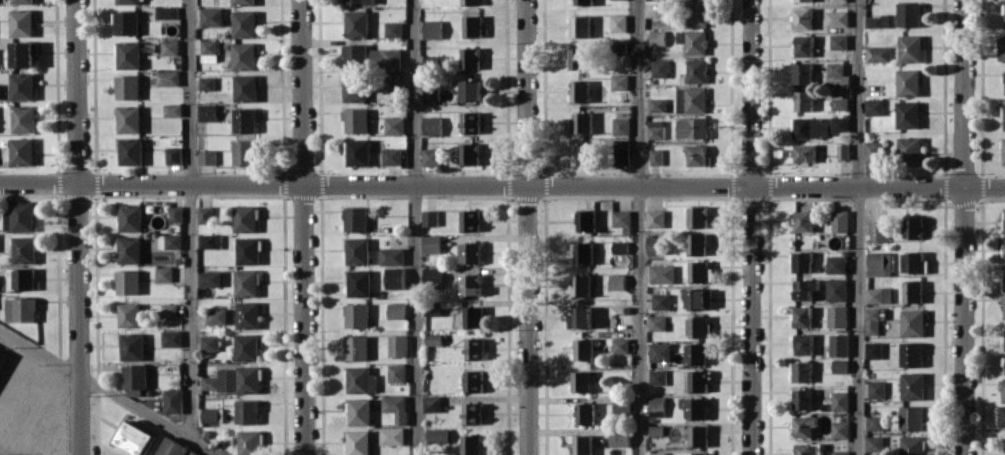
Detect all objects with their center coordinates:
building: (800, 0)
building: (835, 0)
building: (23, 1)
building: (358, 1)
building: (130, 2)
building: (242, 2)
building: (469, 2)
building: (581, 2)
building: (661, 9)
building: (166, 12)
building: (695, 13)
building: (1003, 13)
building: (906, 14)
building: (211, 16)
building: (800, 18)
building: (833, 18)
building: (874, 21)
building: (22, 22)
building: (127, 22)
building: (244, 23)
building: (356, 23)
building: (616, 23)
building: (470, 26)
building: (578, 26)
building: (392, 29)
building: (431, 29)
building: (655, 37)
building: (691, 41)
building: (835, 41)
building: (802, 45)
building: (169, 47)
building: (907, 48)
building: (1000, 48)
building: (208, 51)
building: (24, 54)
building: (129, 54)
building: (875, 54)
building: (243, 55)
building: (353, 56)
building: (468, 57)
building: (385, 58)
building: (576, 58)
building: (433, 60)
building: (658, 68)
building: (694, 71)
building: (800, 73)
building: (834, 74)
building: (166, 78)
building: (393, 82)
building: (617, 82)
building: (905, 82)
building: (1003, 82)
building: (206, 83)
building: (23, 86)
building: (127, 87)
building: (245, 88)
building: (353, 88)
building: (0, 89)
building: (470, 90)
building: (578, 90)
road: (525, 92)
building: (429, 94)
building: (689, 99)
building: (801, 100)
building: (837, 103)
building: (656, 104)
building: (871, 107)
building: (172, 109)
building: (206, 112)
building: (905, 114)
building: (1003, 116)
building: (24, 119)
building: (128, 119)
building: (244, 120)
building: (355, 120)
building: (469, 122)
building: (581, 122)
building: (837, 123)
building: (392, 125)
building: (430, 125)
building: (619, 125)
building: (691, 127)
building: (809, 128)
building: (654, 129)
building: (907, 149)
building: (1002, 150)
building: (22, 151)
building: (130, 151)
building: (840, 151)
building: (243, 152)
building: (357, 152)
building: (619, 152)
building: (870, 152)
building: (467, 153)
building: (802, 153)
building: (172, 155)
building: (582, 155)
building: (694, 155)
building: (206, 156)
building: (390, 156)
building: (429, 156)
building: (654, 156)
road: (263, 183)
road: (765, 185)
building: (174, 214)
building: (203, 214)
building: (20, 216)
building: (696, 216)
building: (130, 217)
building: (428, 217)
building: (244, 218)
building: (354, 218)
building: (619, 218)
building: (654, 218)
road: (190, 219)
building: (468, 220)
building: (584, 220)
building: (1003, 220)
building: (802, 221)
building: (838, 221)
road: (78, 227)
road: (302, 227)
road: (412, 227)
road: (637, 227)
road: (749, 227)
road: (856, 227)
road: (962, 227)
building: (913, 228)
building: (876, 231)
building: (169, 241)
building: (208, 241)
building: (695, 243)
building: (430, 244)
building: (654, 245)
building: (619, 247)
building: (24, 249)
building: (1002, 249)
building: (129, 250)
building: (247, 250)
building: (356, 250)
building: (470, 252)
building: (582, 252)
building: (390, 256)
building: (801, 261)
building: (914, 262)
building: (878, 263)
building: (835, 264)
building: (698, 271)
building: (661, 273)
building: (163, 274)
building: (431, 274)
building: (1004, 276)
building: (394, 277)
building: (21, 278)
building: (209, 278)
building: (616, 281)
building: (127, 282)
building: (246, 283)
building: (358, 283)
building: (470, 285)
building: (579, 285)
building: (804, 288)
building: (835, 290)
building: (911, 292)
building: (877, 295)
building: (697, 297)
building: (660, 301)
building: (1003, 307)
building: (21, 309)
building: (168, 310)
building: (395, 310)
building: (247, 314)
building: (129, 315)
building: (356, 315)
building: (215, 316)
building: (472, 316)
building: (836, 316)
building: (579, 317)
building: (801, 317)
road: (526, 320)
building: (871, 321)
building: (655, 322)
building: (912, 322)
building: (697, 326)
building: (1004, 336)
building: (170, 338)
building: (208, 343)
building: (803, 344)
building: (396, 345)
building: (620, 345)
building: (132, 346)
building: (245, 347)
building: (355, 347)
building: (473, 348)
building: (583, 349)
building: (837, 349)
building: (872, 350)
building: (659, 351)
building: (696, 353)
building: (911, 354)
building: (839, 366)
building: (801, 371)
building: (395, 372)
building: (135, 376)
building: (657, 376)
building: (242, 379)
building: (359, 380)
building: (472, 380)
building: (698, 380)
building: (580, 381)
building: (209, 383)
building: (912, 385)
building: (876, 389)
building: (1002, 391)
road: (109, 392)
building: (802, 398)
building: (172, 400)
building: (840, 401)
building: (431, 403)
building: (621, 405)
building: (657, 406)
building: (395, 407)
building: (694, 407)
building: (246, 411)
building: (359, 412)
building: (471, 413)
building: (584, 413)
building: (211, 415)
building: (1001, 416)
building: (911, 417)
building: (874, 423)
building: (804, 425)
building: (840, 429)
building: (656, 430)
building: (437, 435)
building: (698, 435)
building: (390, 436)
building: (135, 438)
building: (619, 438)
building: (249, 442)
building: (358, 442)
building: (874, 443)
building: (471, 444)
building: (582, 444)
building: (913, 445)
building: (171, 447)
building: (840, 452)
building: (194, 453)
building: (657, 453)
building: (697, 453)

